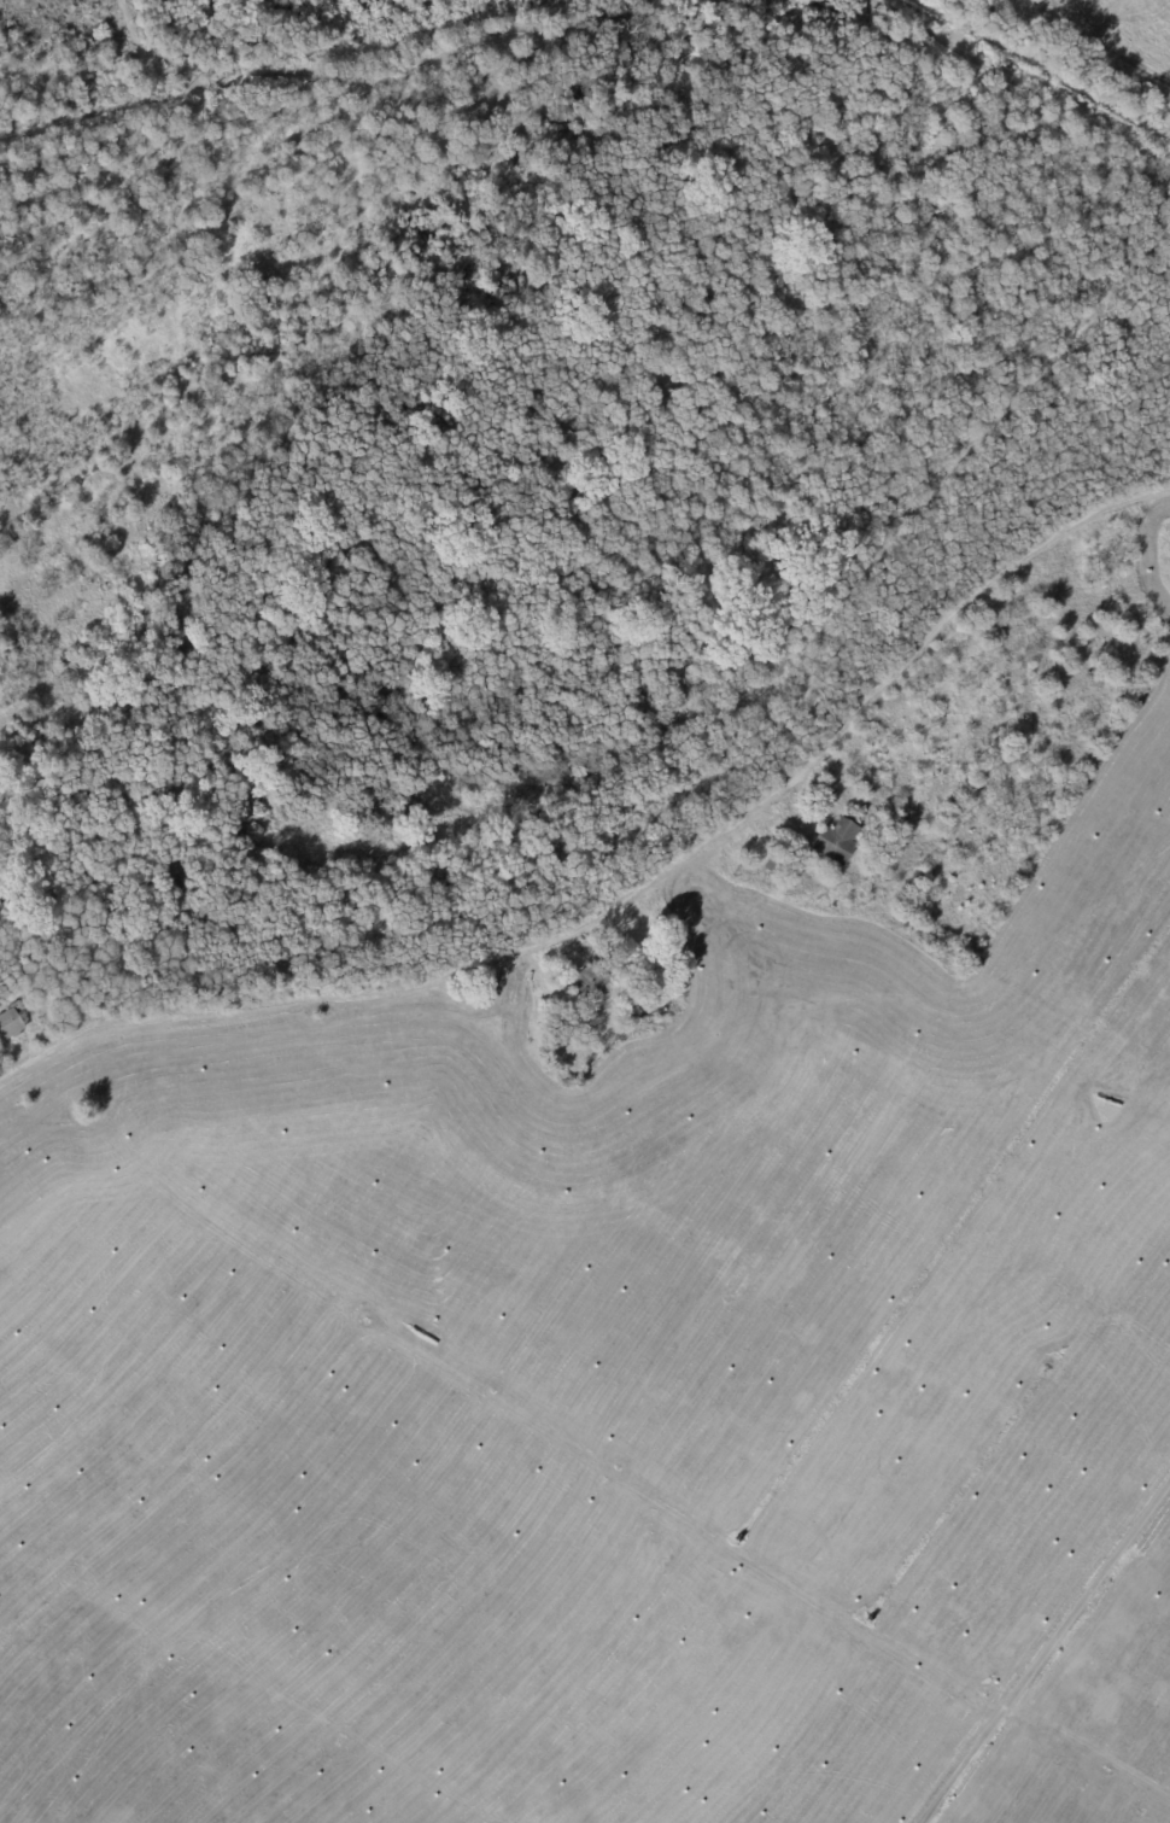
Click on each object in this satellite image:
road: (977, 21)
crop: (1112, 43)
road: (151, 53)
road: (1020, 82)
road: (328, 84)
building: (1101, 677)
building: (893, 826)
building: (841, 837)
building: (778, 864)
road: (632, 892)
building: (592, 981)
building: (71, 992)
building: (13, 1022)
building: (577, 1023)
crop: (632, 1425)

